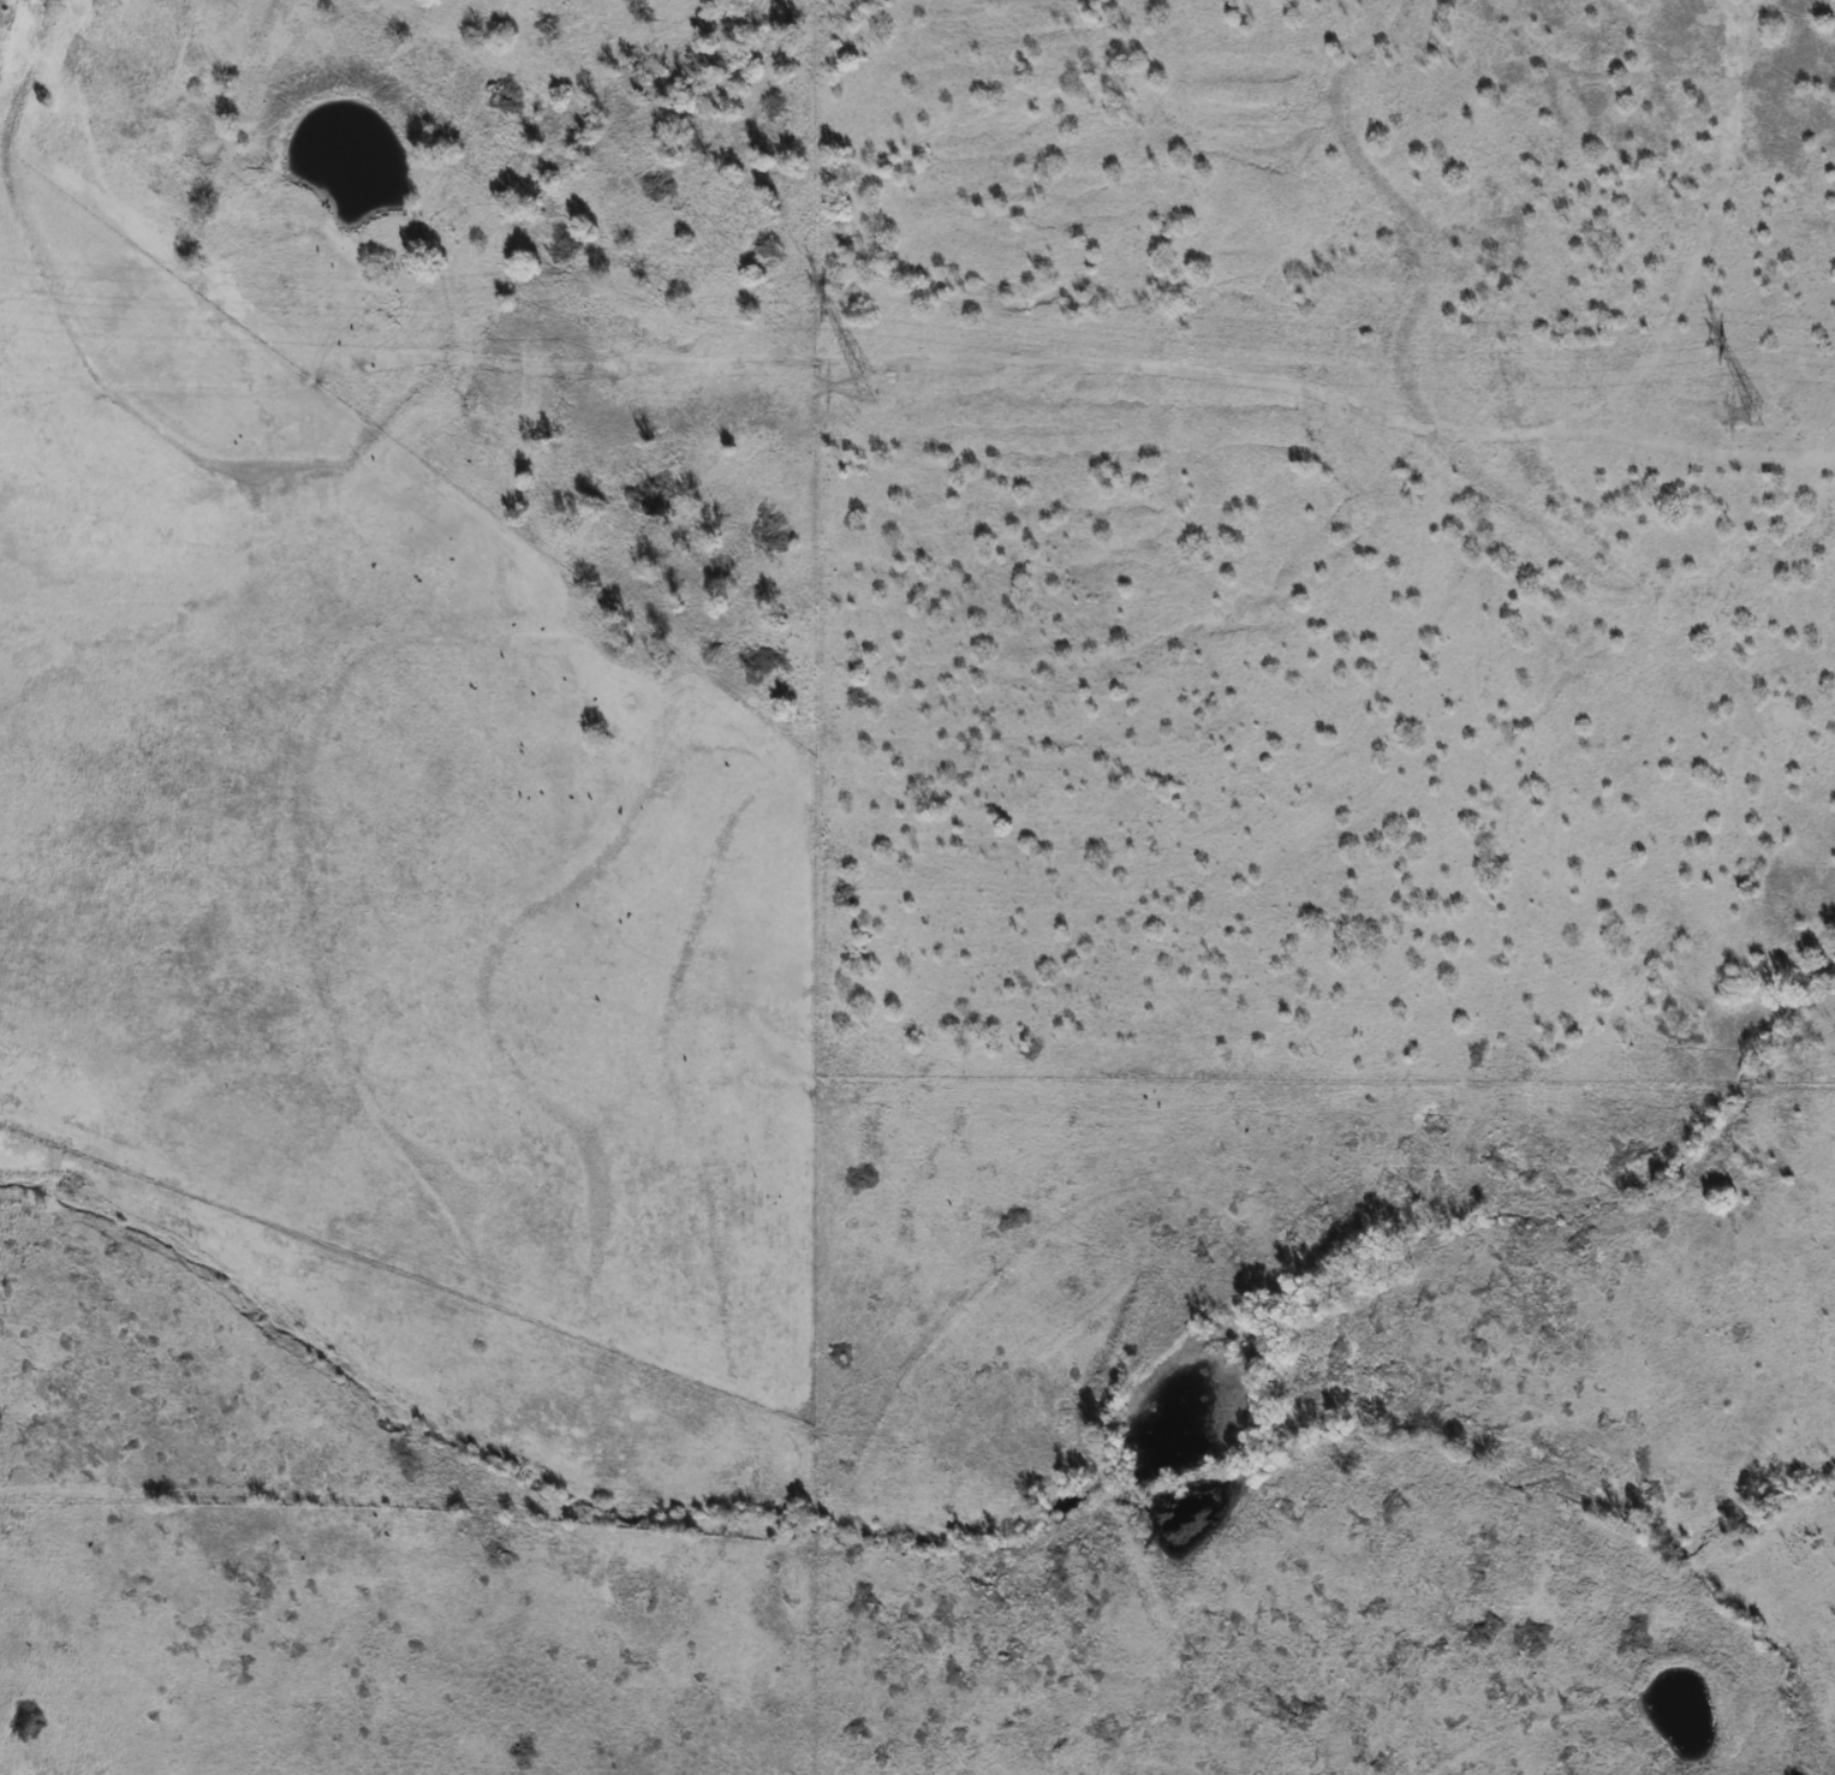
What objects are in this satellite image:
power tower: (869, 388)
power tower: (1758, 415)

